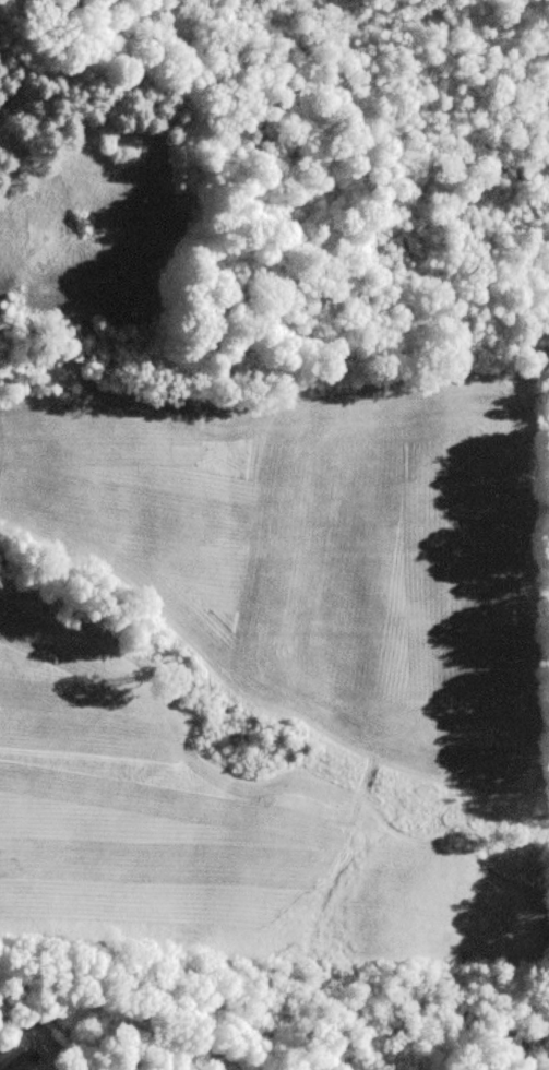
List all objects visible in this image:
building: (11, 1049)

